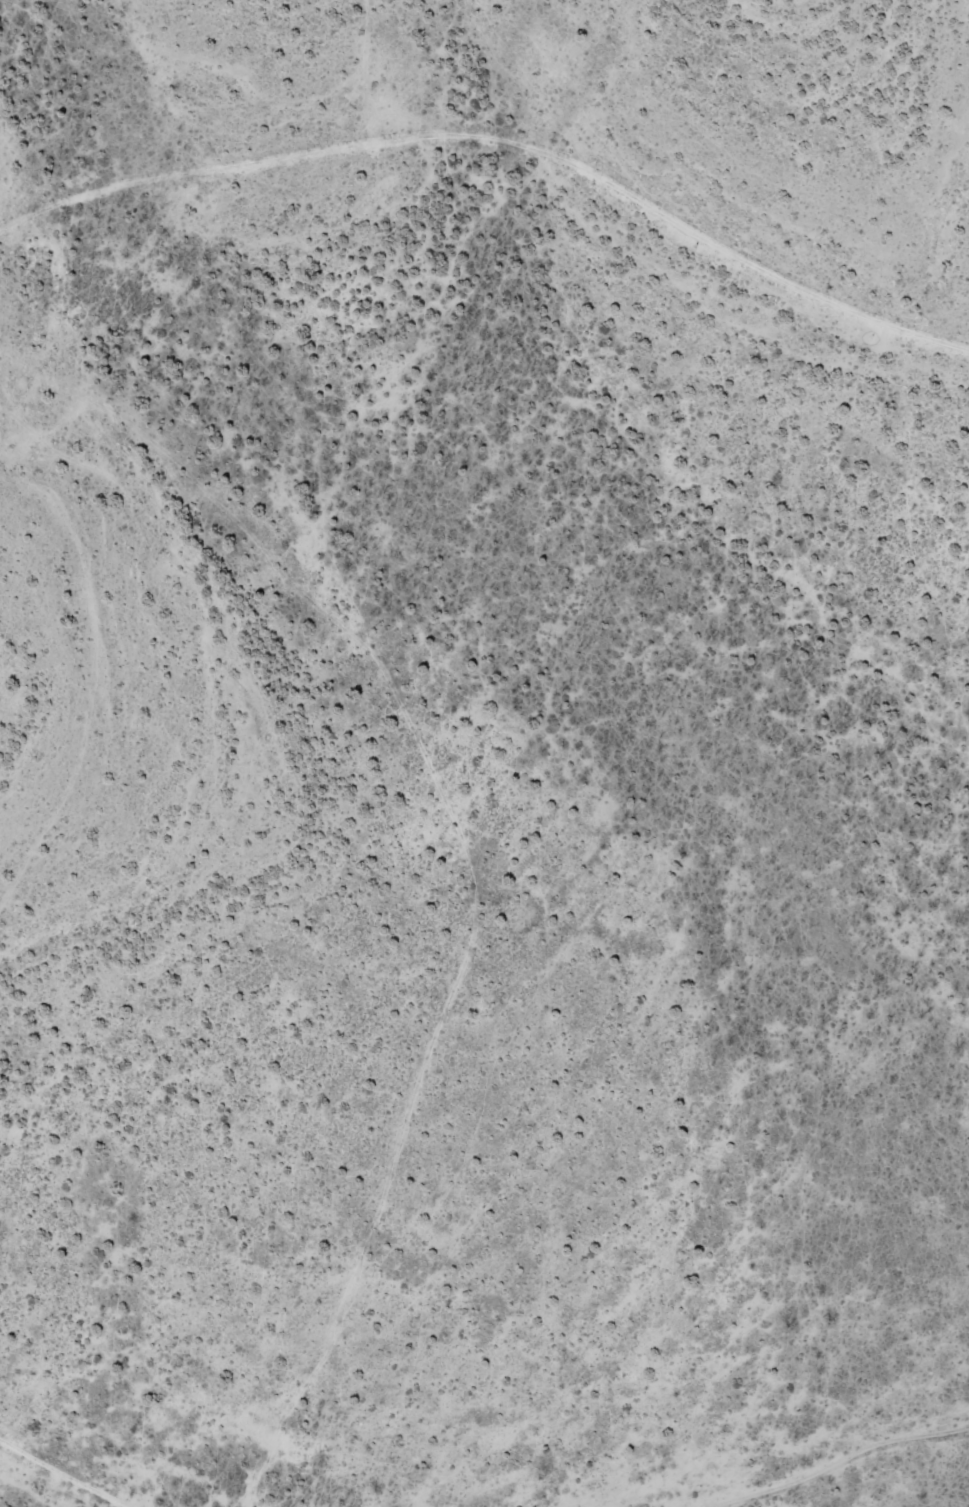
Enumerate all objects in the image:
road: (833, 1457)
road: (64, 1472)

